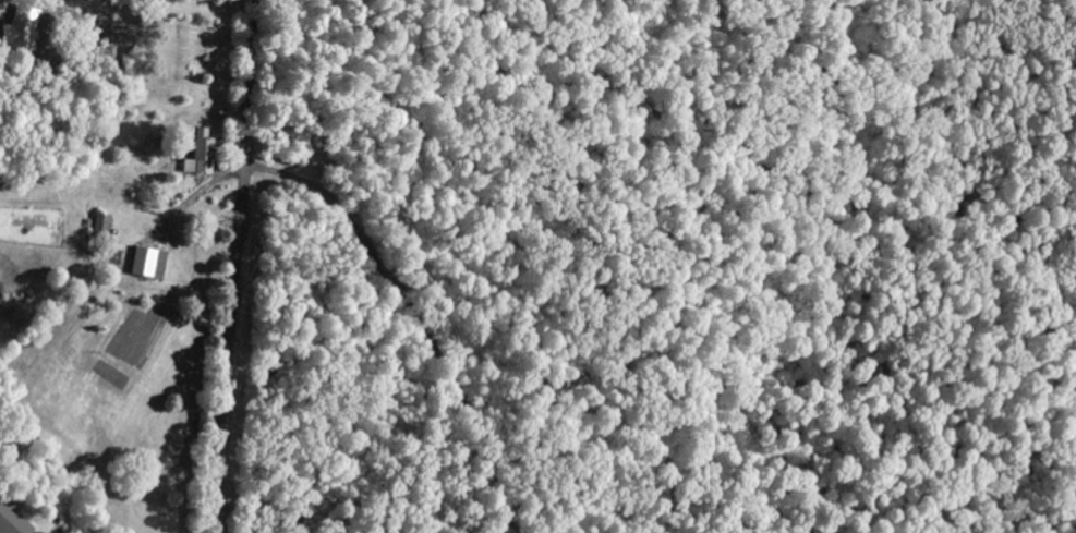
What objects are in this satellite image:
building: (197, 154)
building: (149, 263)
road: (235, 266)
building: (16, 520)

